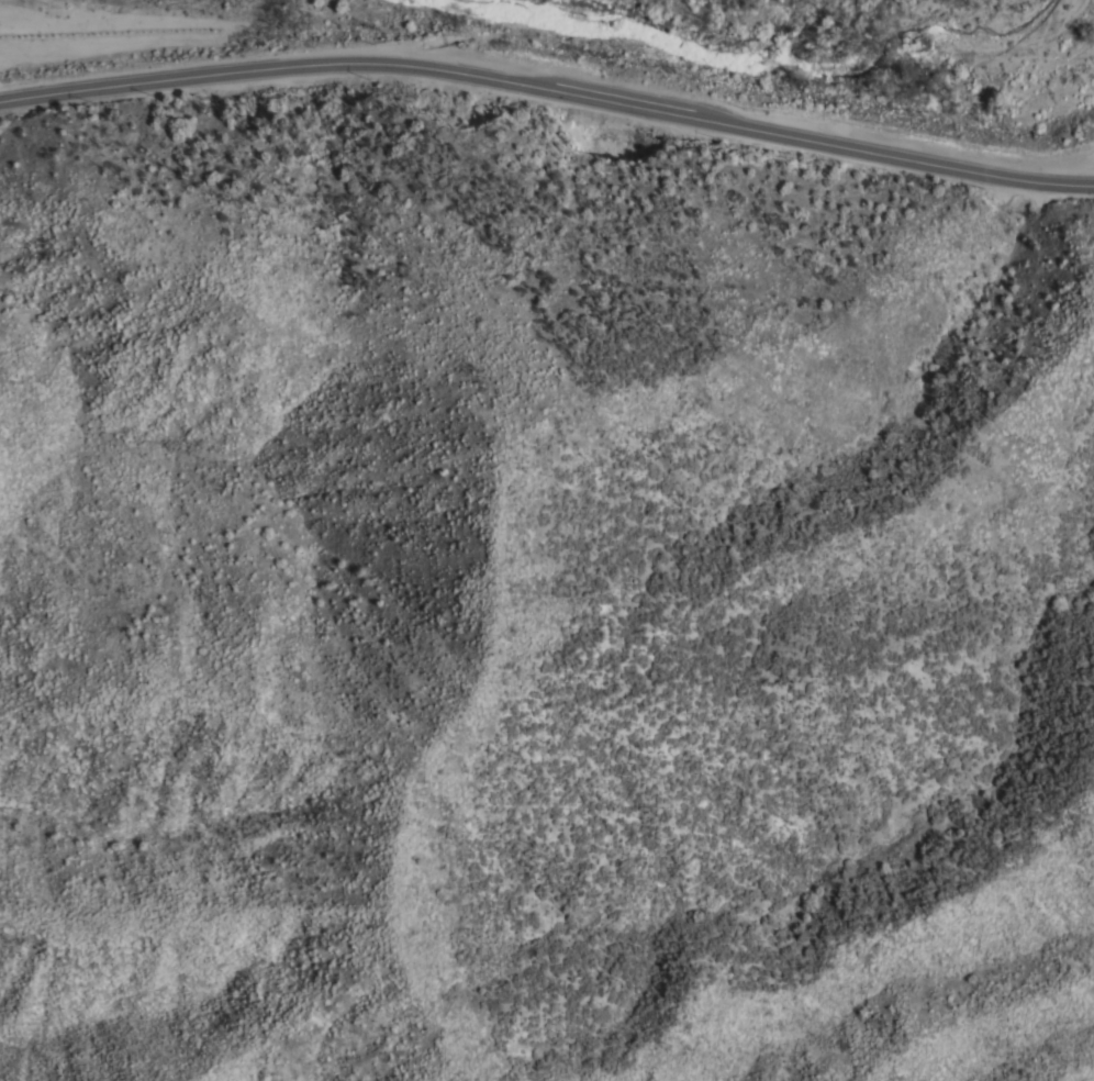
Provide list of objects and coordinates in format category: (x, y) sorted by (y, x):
road: (549, 89)

